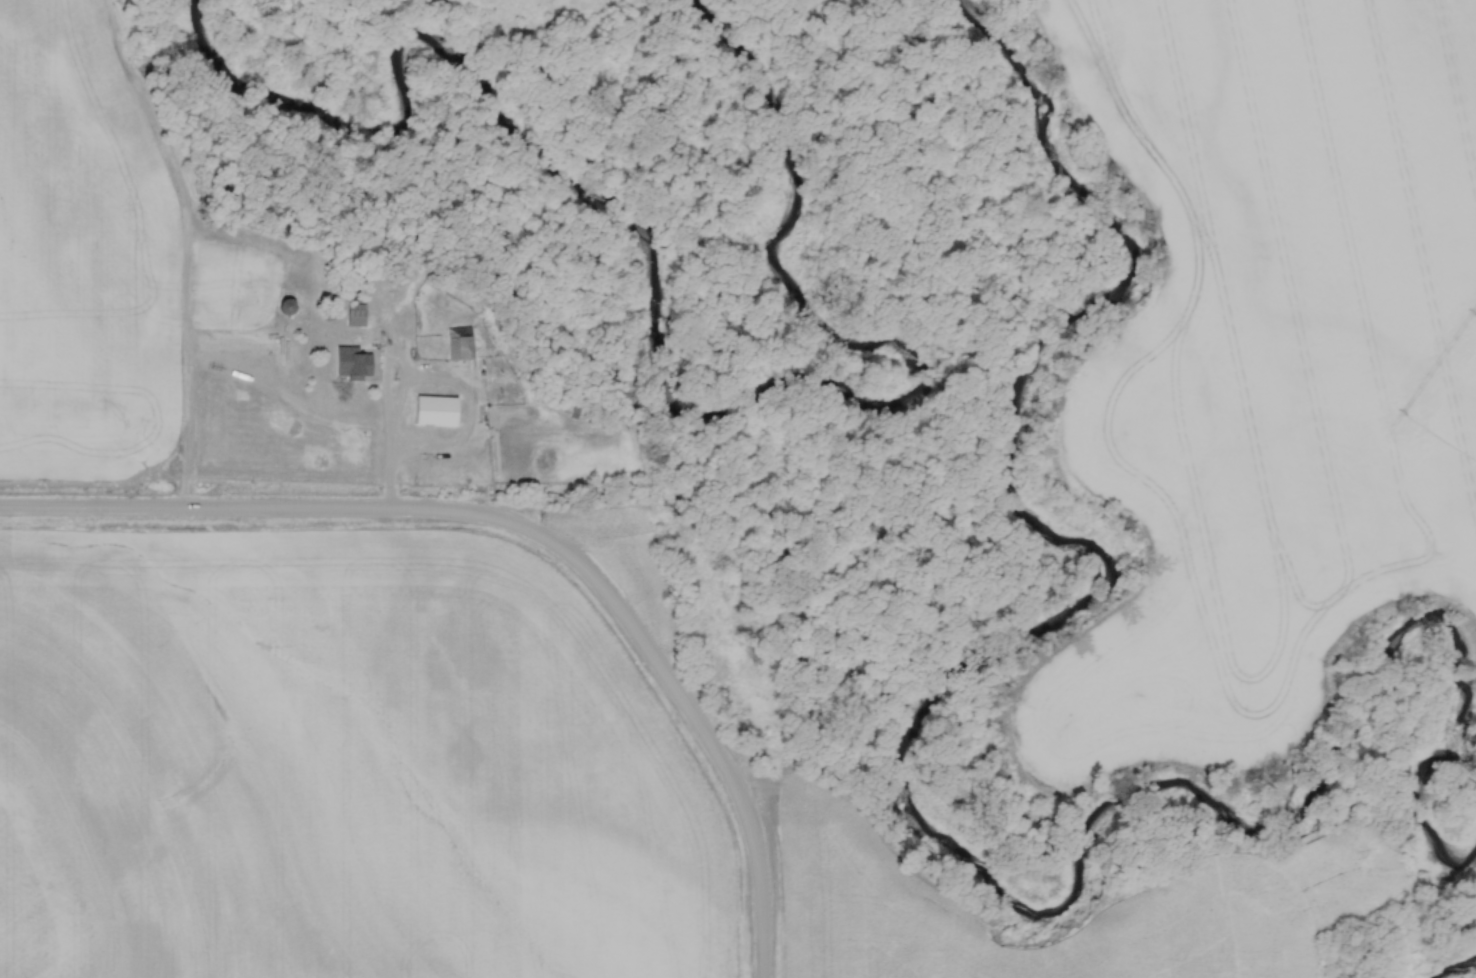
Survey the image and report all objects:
building: (284, 308)
building: (354, 316)
building: (459, 345)
building: (351, 364)
road: (422, 382)
building: (435, 412)
road: (390, 475)
road: (275, 509)
river: (1019, 512)
road: (675, 692)
road: (761, 925)
river: (1451, 969)

